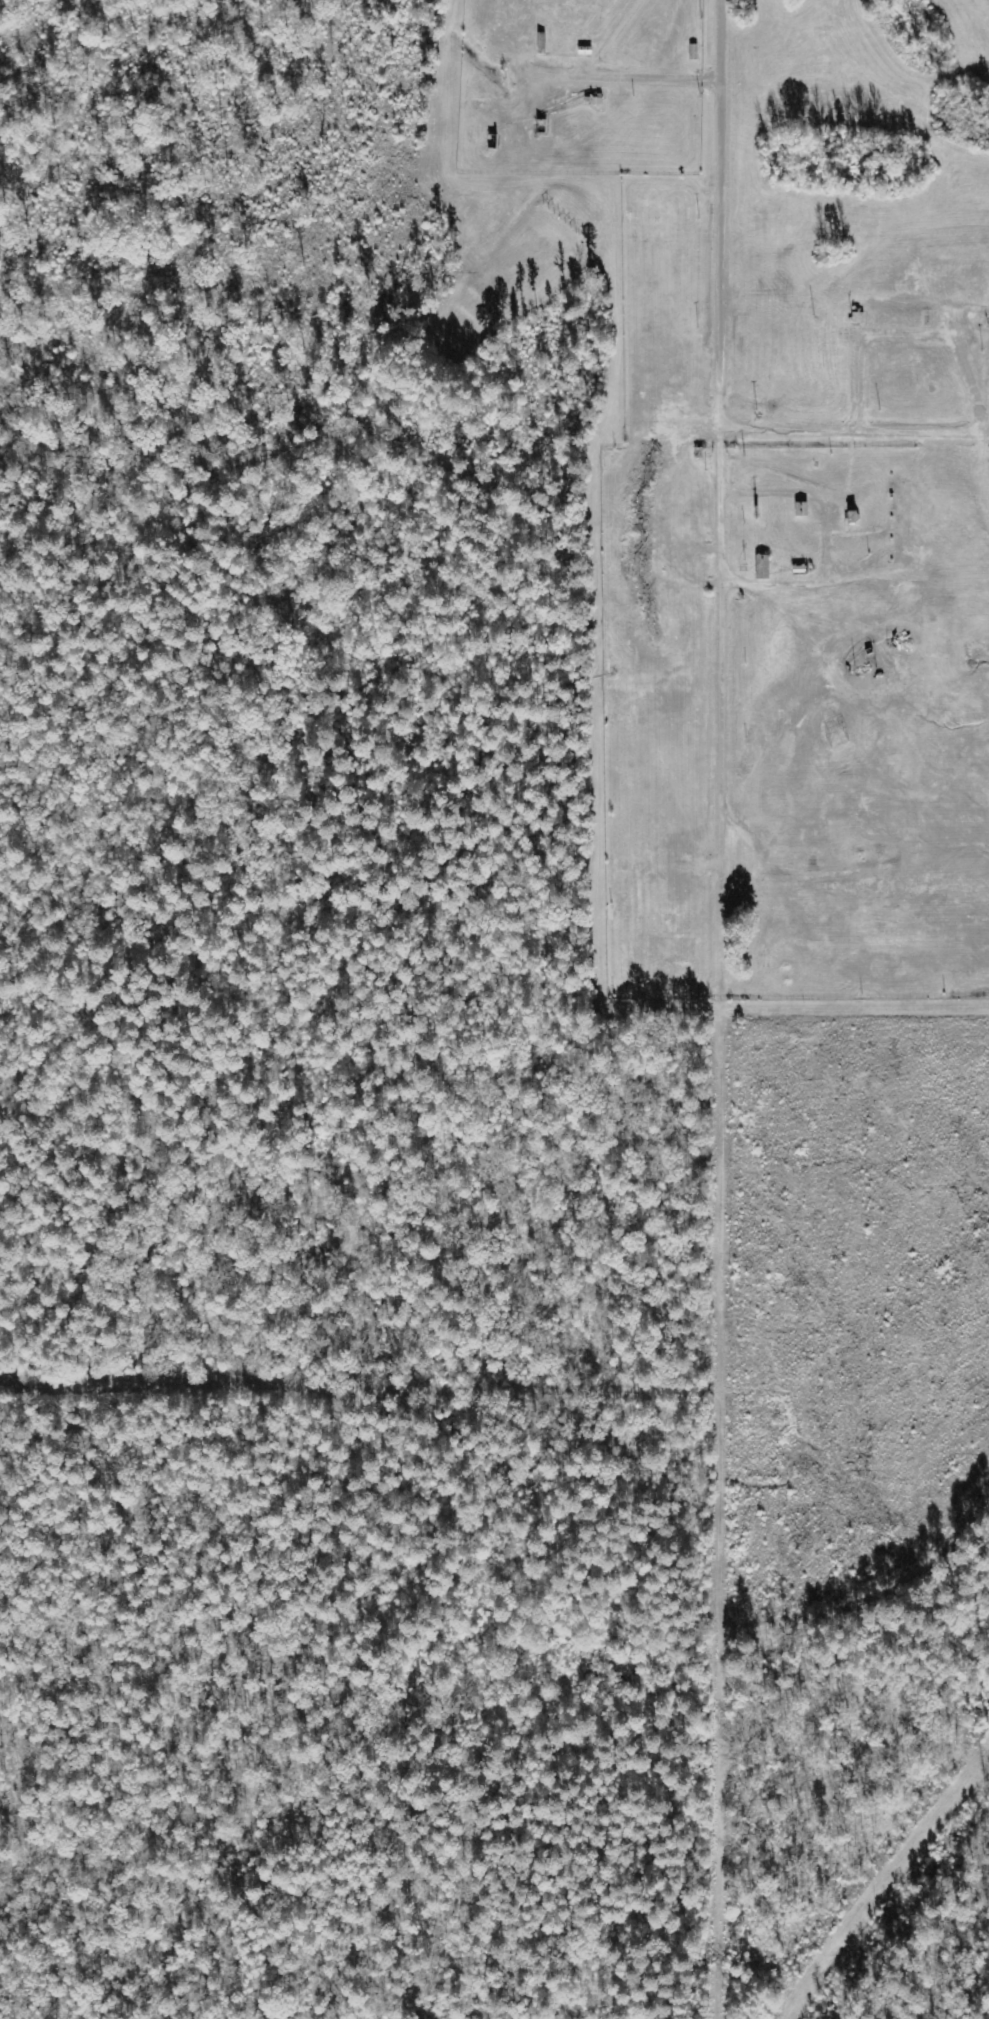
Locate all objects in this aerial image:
road: (862, 434)
road: (735, 1009)
road: (367, 1385)

